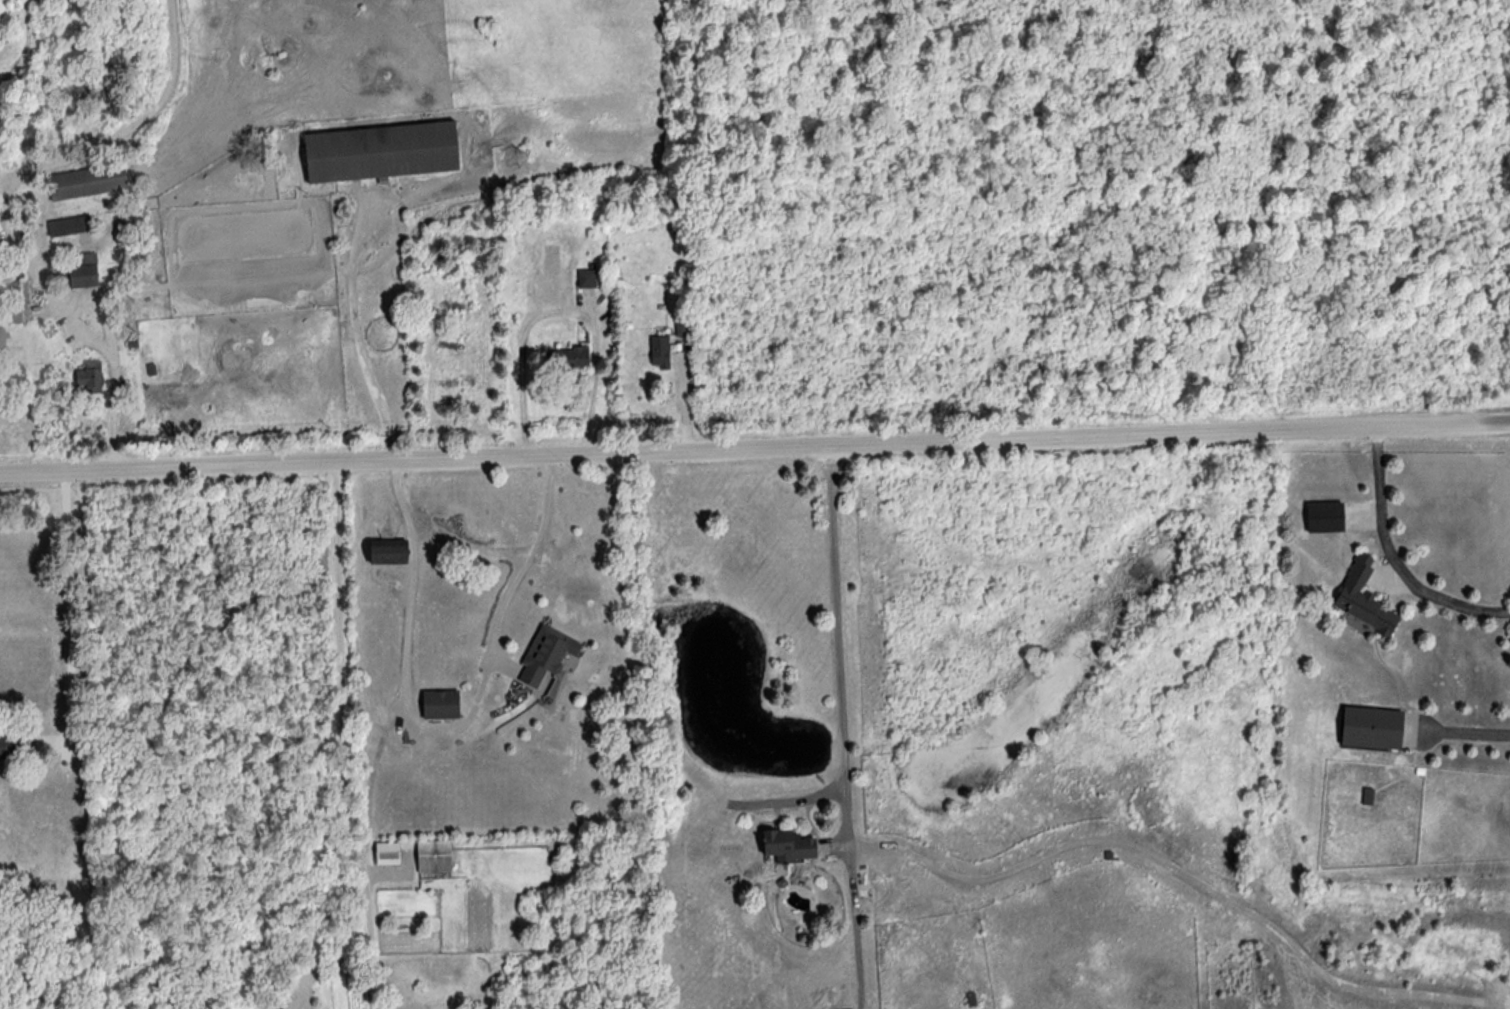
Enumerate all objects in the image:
building: (382, 151)
road: (87, 156)
building: (90, 182)
building: (87, 276)
building: (585, 278)
building: (22, 302)
road: (358, 333)
building: (3, 339)
road: (102, 350)
building: (659, 352)
building: (567, 357)
building: (92, 376)
road: (687, 396)
road: (754, 446)
building: (1322, 517)
building: (389, 551)
road: (1393, 558)
building: (1361, 597)
road: (67, 617)
building: (543, 655)
building: (438, 704)
building: (1369, 728)
road: (342, 737)
road: (450, 738)
road: (1468, 738)
building: (10, 746)
building: (784, 845)
building: (390, 853)
building: (437, 856)
road: (1003, 870)
road: (850, 922)

